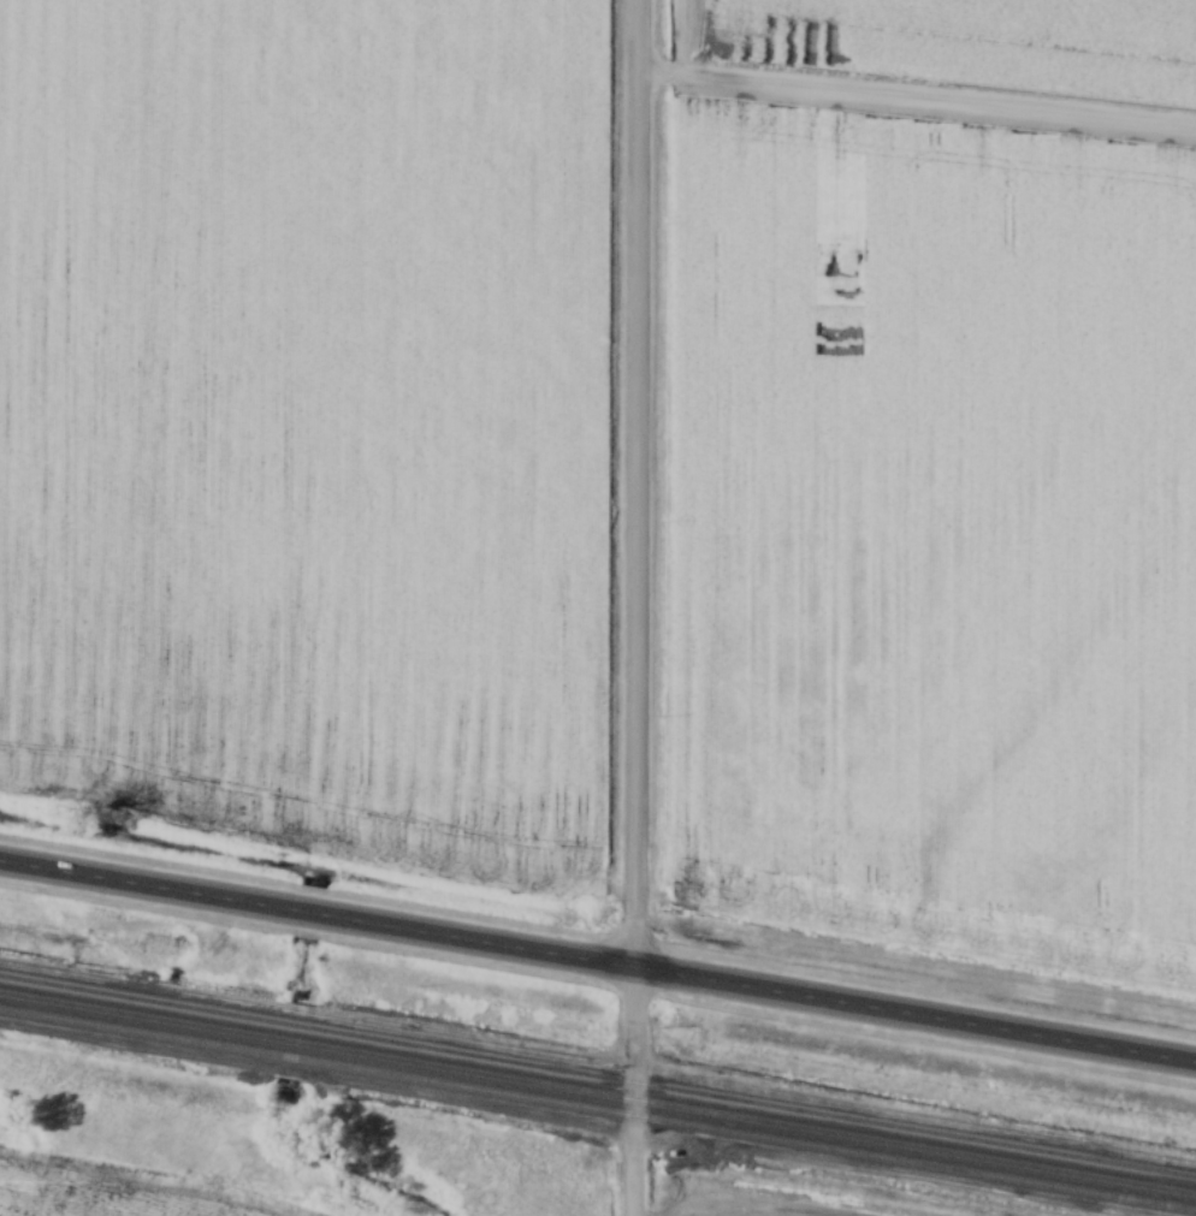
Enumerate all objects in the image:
crop: (930, 524)
road: (630, 607)
road: (598, 960)
railway: (598, 1075)
railway: (597, 1092)
railway: (597, 1109)

